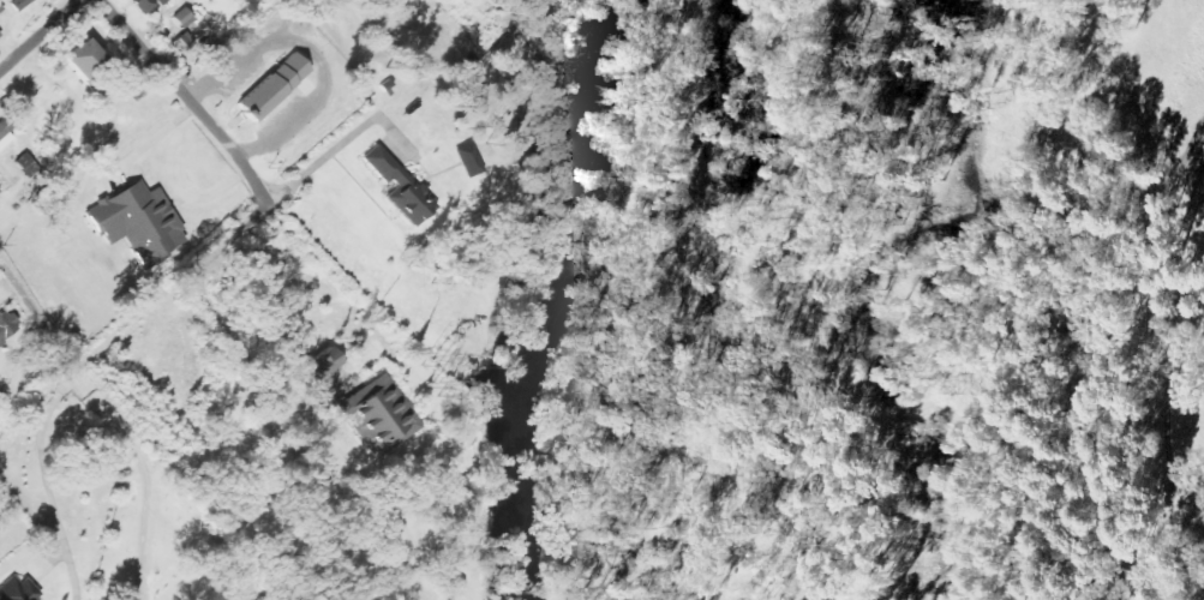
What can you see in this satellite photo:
building: (22, 2)
building: (145, 4)
building: (184, 18)
building: (0, 34)
road: (41, 35)
road: (315, 58)
building: (85, 59)
building: (274, 88)
road: (187, 97)
building: (5, 134)
road: (336, 151)
building: (400, 187)
building: (138, 222)
river: (540, 295)
building: (7, 326)
road: (64, 359)
building: (321, 366)
building: (377, 415)
road: (46, 484)
road: (146, 524)
building: (18, 590)

